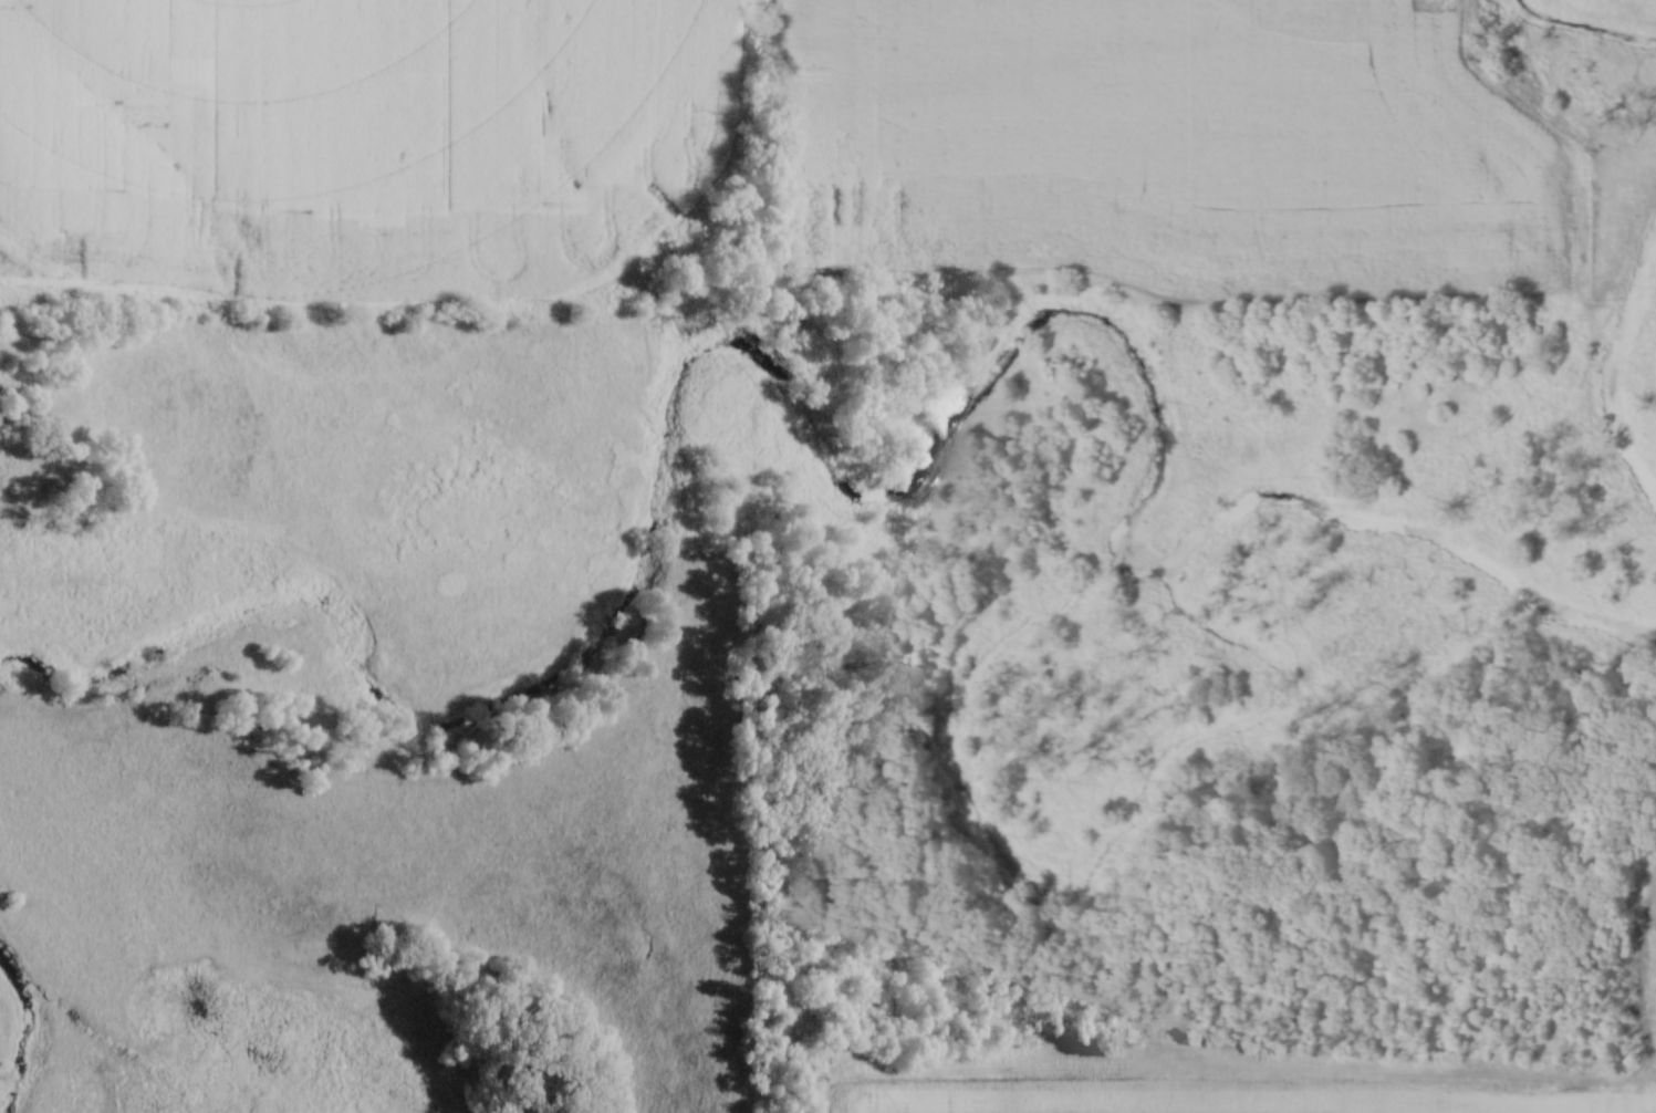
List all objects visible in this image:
river: (1582, 23)
river: (1608, 366)
river: (823, 468)
river: (23, 1032)

